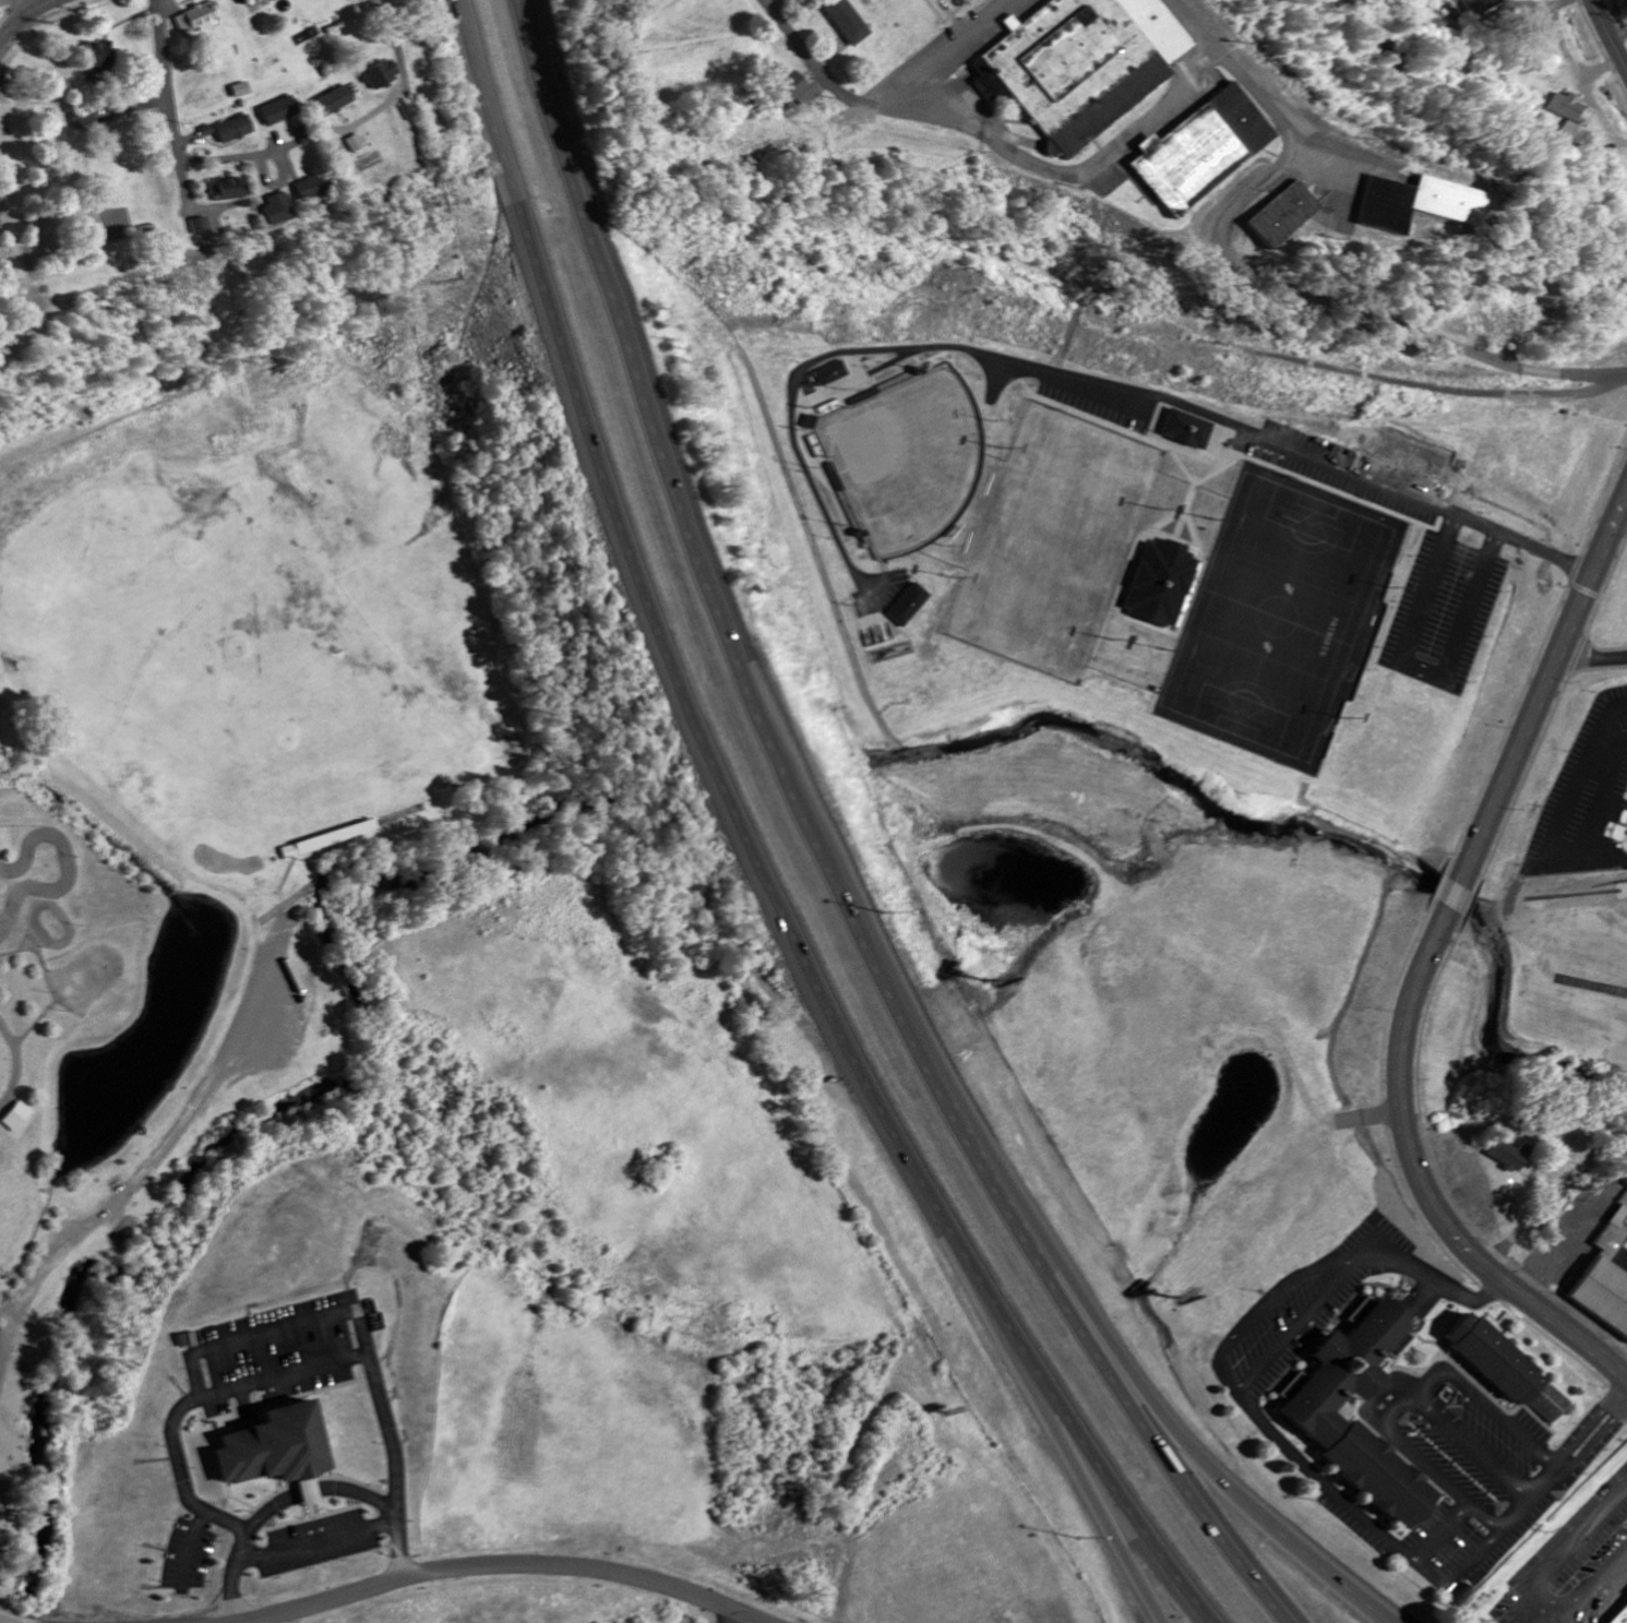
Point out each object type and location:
building: (275, 0)
building: (938, 0)
road: (8, 1)
building: (250, 1)
building: (1481, 4)
road: (777, 7)
road: (26, 16)
building: (846, 21)
road: (1610, 33)
road: (390, 35)
building: (99, 55)
road: (945, 55)
building: (1080, 64)
building: (380, 74)
building: (241, 89)
building: (794, 91)
road: (169, 93)
road: (1263, 99)
building: (334, 102)
building: (1570, 106)
building: (279, 110)
building: (235, 129)
building: (1198, 147)
road: (248, 155)
building: (307, 188)
building: (225, 189)
road: (192, 202)
building: (1417, 203)
building: (273, 210)
building: (1280, 215)
building: (195, 226)
road: (559, 231)
building: (835, 373)
building: (1191, 429)
parking lot: (1258, 443)
park: (894, 445)
road: (1518, 540)
park: (1057, 546)
building: (1161, 583)
building: (908, 605)
park: (1285, 621)
road: (1592, 661)
building: (316, 844)
road: (758, 851)
road: (811, 854)
road: (1431, 960)
water park: (96, 1023)
building: (13, 1112)
road: (159, 1151)
building: (1509, 1156)
building: (1626, 1207)
road: (1388, 1264)
building: (1611, 1284)
road: (1459, 1296)
road: (1269, 1308)
road: (1304, 1328)
road: (2, 1342)
road: (308, 1367)
building: (1503, 1368)
road: (1416, 1400)
road: (1152, 1403)
building: (1320, 1424)
road: (1064, 1427)
road: (1600, 1432)
road: (1288, 1446)
building: (275, 1448)
road: (1478, 1451)
road: (271, 1506)
road: (1563, 1550)
road: (502, 1568)
road: (1457, 1580)
road: (1145, 1582)
road: (1591, 1588)
road: (735, 1620)
building: (1624, 1620)

